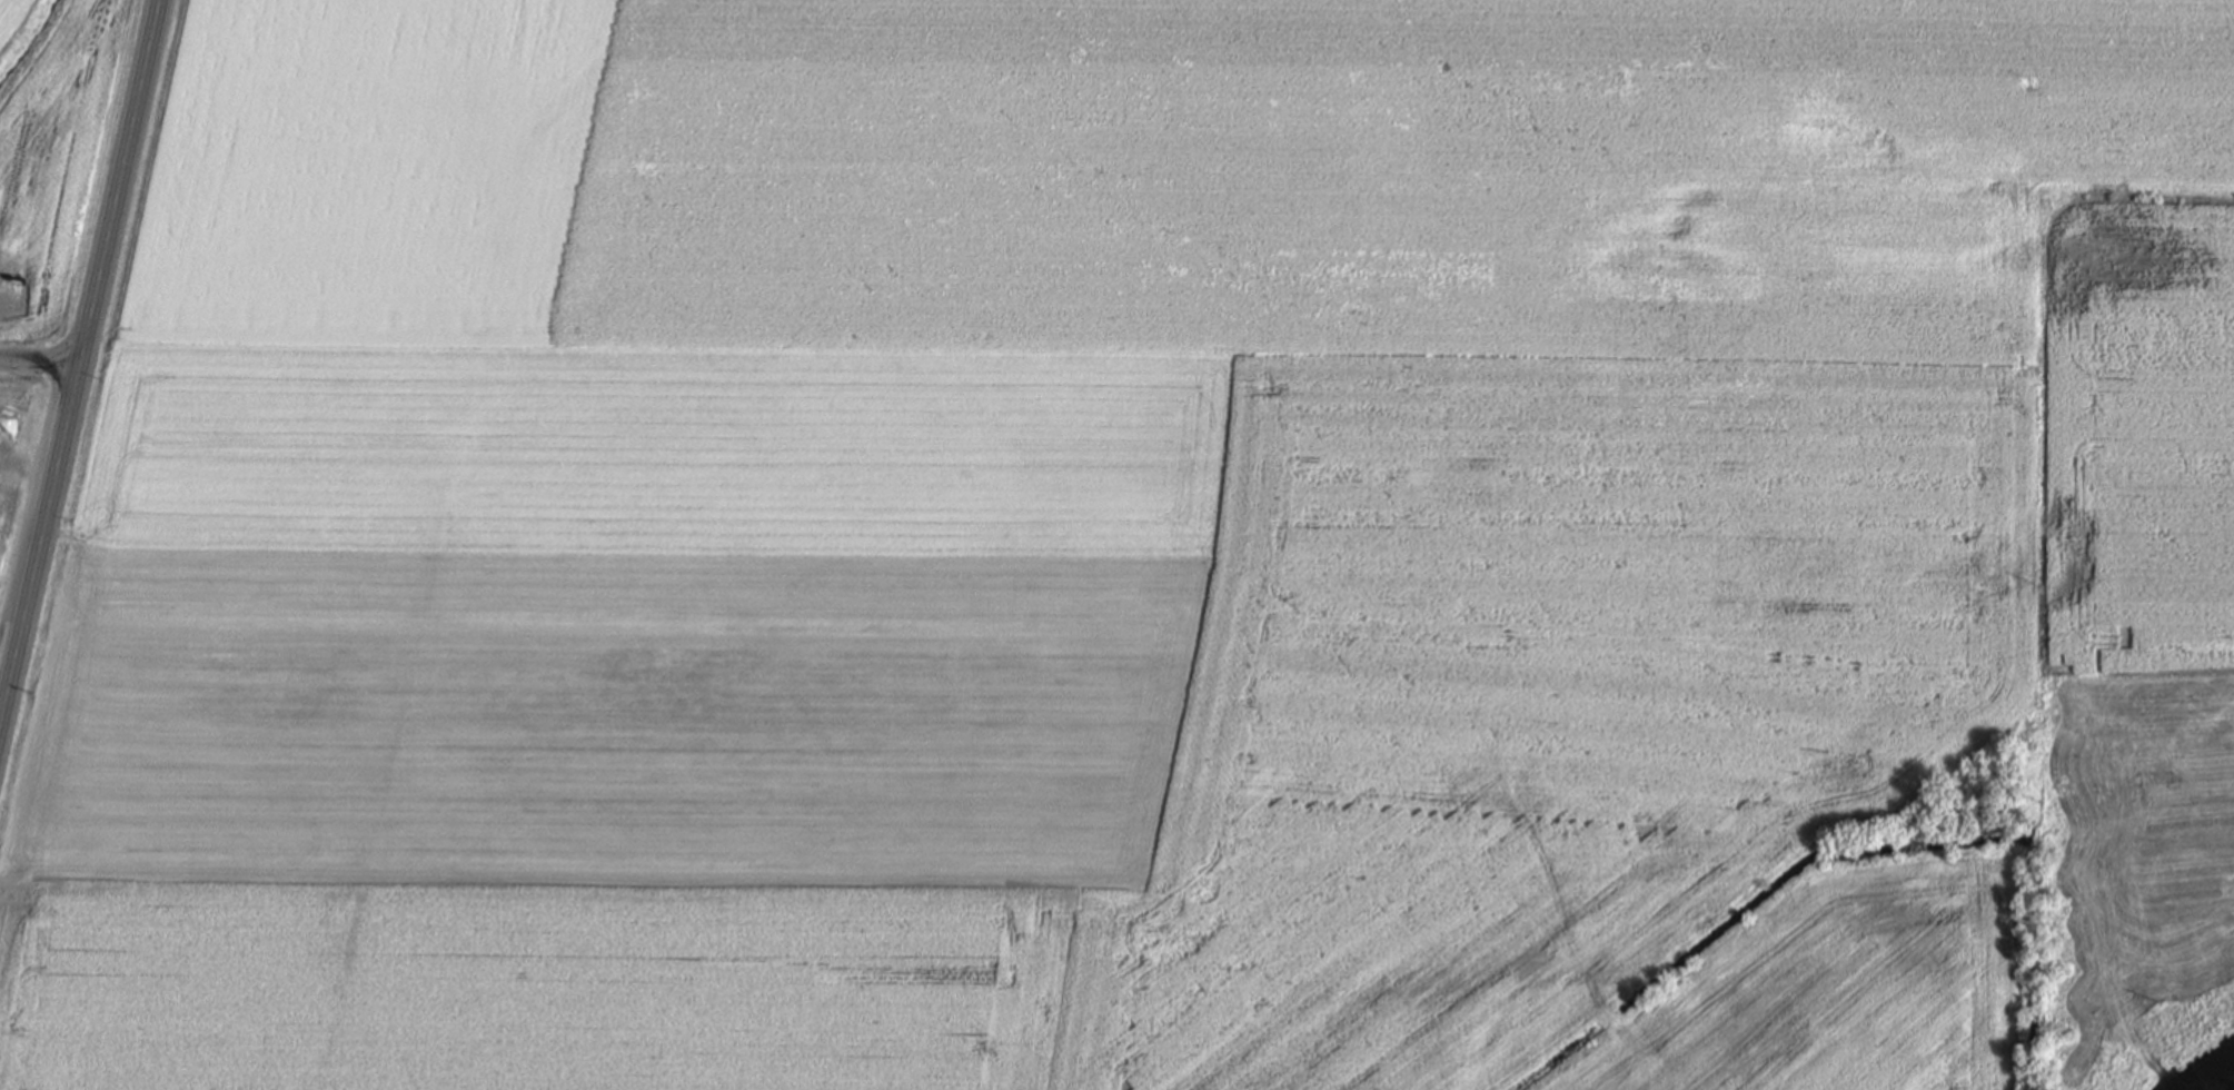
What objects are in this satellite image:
crop: (1377, 174)
road: (41, 361)
road: (81, 364)
crop: (2142, 432)
crop: (905, 653)
crop: (1843, 991)

